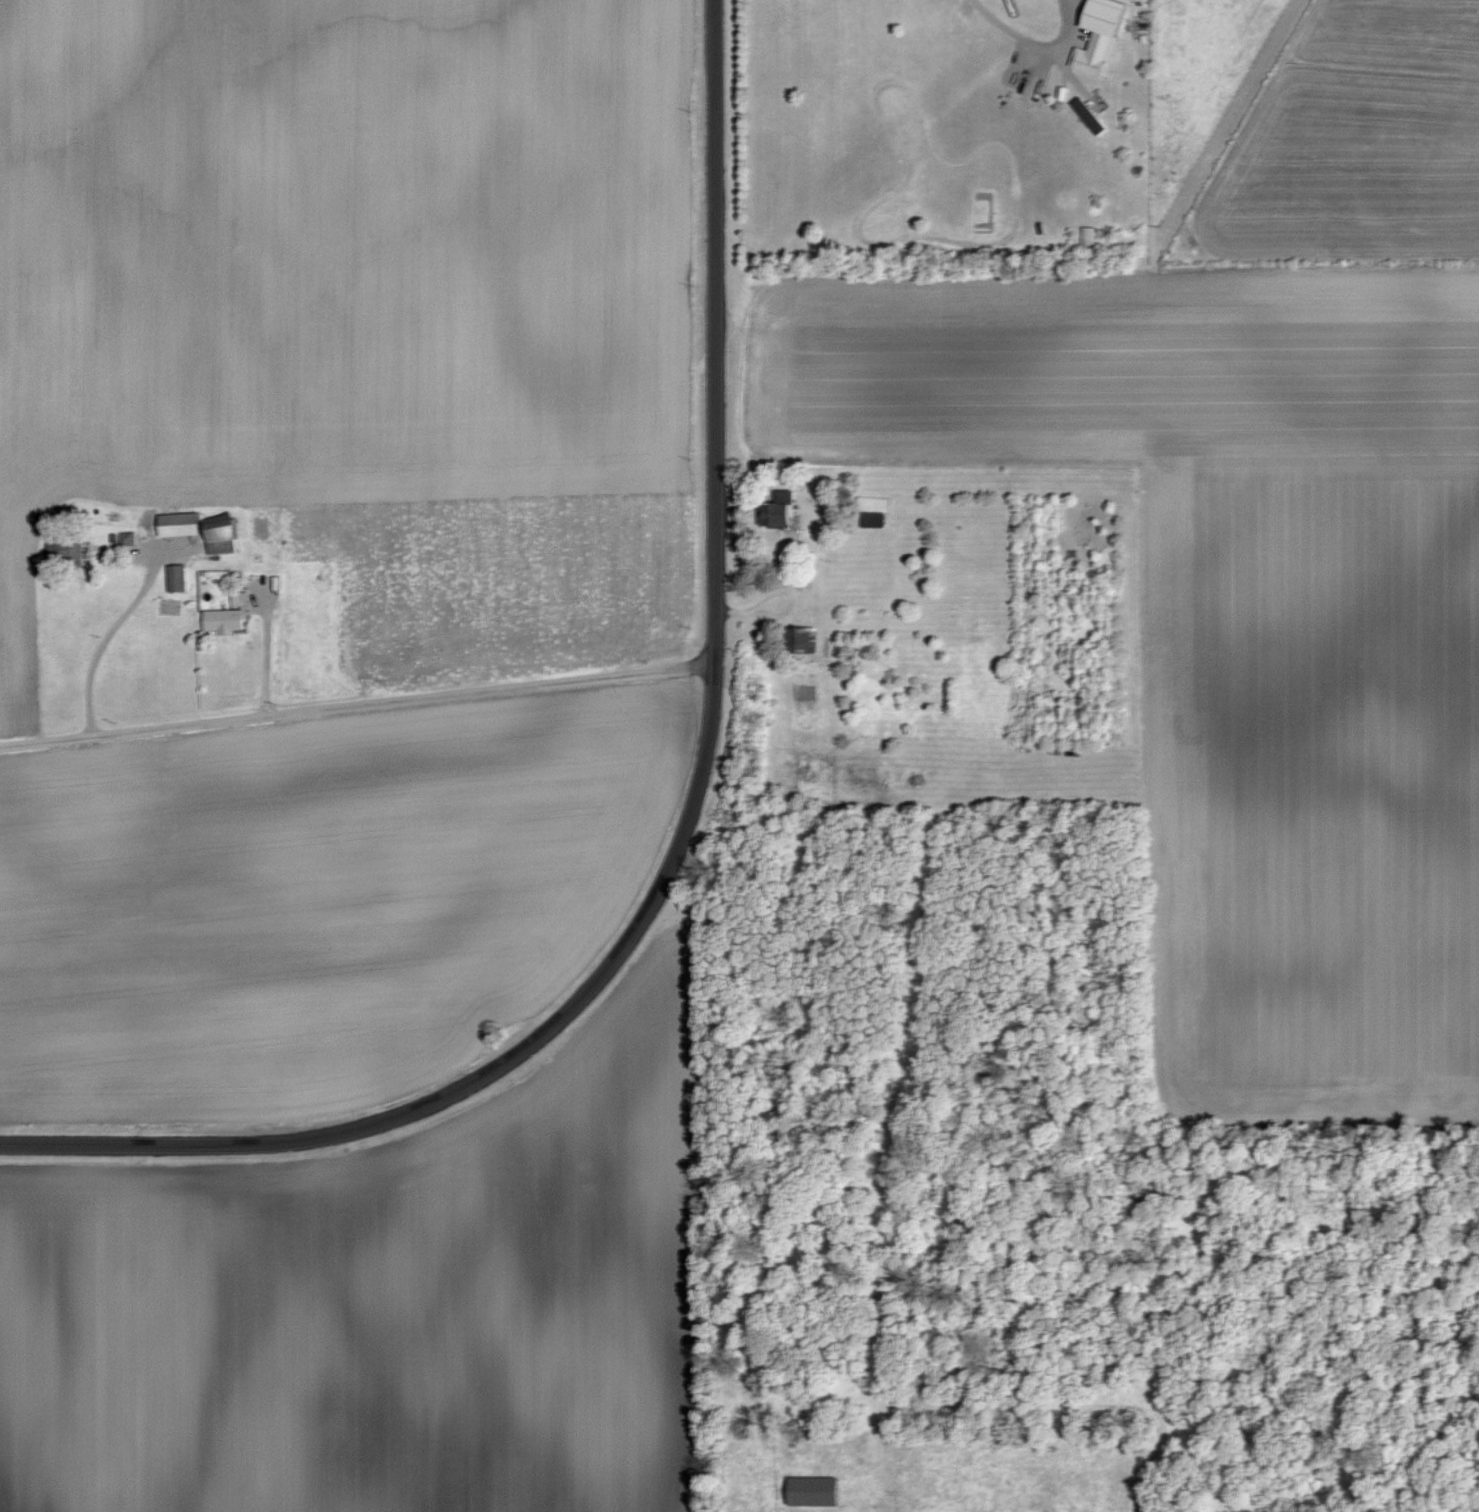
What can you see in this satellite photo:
building: (1099, 34)
road: (1034, 44)
building: (1088, 115)
building: (1088, 234)
building: (777, 508)
building: (179, 523)
building: (220, 537)
building: (177, 577)
building: (227, 616)
road: (107, 637)
building: (803, 638)
road: (265, 647)
road: (357, 705)
road: (689, 826)
building: (814, 1491)

